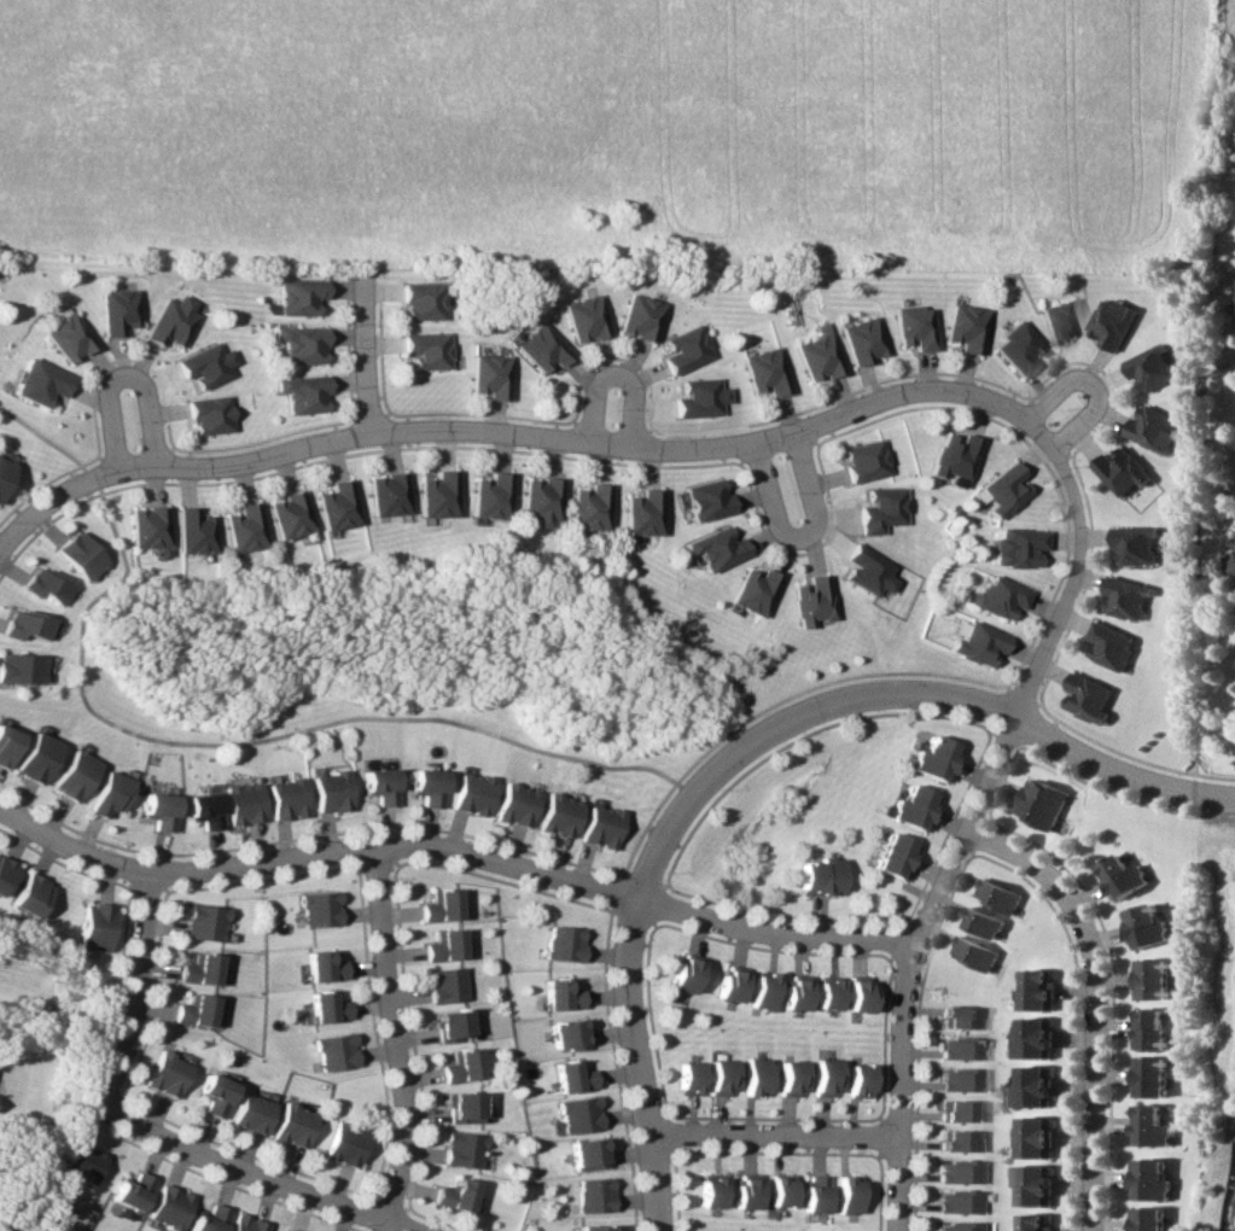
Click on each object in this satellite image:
building: (298, 296)
building: (424, 301)
building: (118, 311)
building: (587, 317)
building: (643, 317)
building: (173, 321)
building: (1056, 321)
building: (1117, 322)
building: (911, 327)
building: (963, 328)
building: (68, 337)
building: (863, 339)
building: (299, 344)
building: (543, 348)
building: (427, 349)
building: (688, 349)
building: (1013, 349)
building: (819, 355)
building: (205, 364)
road: (357, 366)
building: (1158, 368)
building: (767, 371)
building: (490, 375)
building: (37, 383)
building: (302, 393)
building: (703, 397)
building: (209, 414)
road: (1064, 419)
road: (616, 421)
building: (1160, 428)
road: (129, 433)
road: (576, 442)
building: (950, 457)
building: (862, 461)
building: (1, 468)
building: (1129, 471)
road: (787, 478)
building: (997, 490)
building: (388, 494)
building: (437, 495)
building: (490, 496)
building: (706, 500)
road: (41, 501)
building: (540, 501)
building: (337, 506)
building: (588, 507)
building: (641, 513)
building: (289, 514)
building: (243, 527)
building: (145, 529)
building: (191, 531)
building: (1141, 544)
building: (1013, 547)
building: (713, 548)
building: (75, 555)
building: (40, 585)
building: (752, 590)
building: (995, 596)
building: (1131, 597)
building: (811, 600)
building: (22, 624)
building: (973, 642)
building: (1114, 644)
building: (19, 667)
building: (1091, 698)
road: (1026, 723)
road: (206, 743)
building: (5, 745)
building: (31, 758)
building: (931, 759)
building: (69, 775)
building: (375, 786)
building: (424, 787)
building: (327, 790)
building: (105, 793)
building: (468, 793)
building: (282, 798)
building: (1043, 803)
building: (238, 804)
building: (511, 805)
building: (909, 807)
building: (199, 810)
building: (155, 811)
building: (554, 815)
building: (596, 825)
road: (968, 825)
road: (454, 850)
building: (890, 856)
building: (4, 870)
building: (1125, 876)
building: (815, 877)
building: (28, 895)
building: (1001, 895)
building: (438, 905)
building: (318, 909)
building: (202, 922)
building: (985, 922)
building: (1147, 926)
building: (93, 927)
road: (625, 933)
building: (560, 944)
building: (442, 945)
building: (975, 952)
building: (321, 965)
building: (197, 969)
building: (681, 974)
building: (1154, 979)
building: (727, 984)
building: (443, 985)
road: (135, 990)
building: (1041, 990)
building: (759, 991)
building: (792, 992)
building: (825, 992)
building: (856, 993)
building: (558, 994)
road: (1097, 996)
building: (326, 1007)
building: (193, 1010)
building: (957, 1016)
building: (448, 1023)
building: (1152, 1029)
road: (389, 1034)
building: (566, 1034)
building: (1037, 1038)
building: (959, 1048)
building: (333, 1051)
building: (459, 1066)
building: (164, 1074)
building: (751, 1075)
building: (571, 1077)
building: (787, 1077)
building: (1152, 1077)
building: (685, 1078)
building: (716, 1078)
building: (820, 1078)
building: (957, 1079)
building: (855, 1080)
building: (1037, 1086)
building: (212, 1093)
building: (461, 1107)
building: (953, 1110)
building: (249, 1114)
building: (577, 1114)
building: (291, 1125)
building: (1152, 1126)
road: (767, 1134)
building: (1039, 1137)
building: (954, 1140)
building: (342, 1147)
building: (460, 1149)
building: (586, 1154)
building: (80, 1162)
building: (956, 1172)
road: (255, 1173)
building: (1153, 1180)
building: (1036, 1185)
building: (709, 1190)
building: (779, 1190)
building: (129, 1191)
building: (744, 1191)
building: (812, 1194)
building: (453, 1195)
building: (593, 1195)
building: (845, 1195)
building: (955, 1201)
building: (167, 1207)
building: (206, 1219)
building: (1149, 1219)
building: (1036, 1221)
building: (244, 1224)
building: (954, 1226)
building: (592, 1227)
building: (284, 1230)

